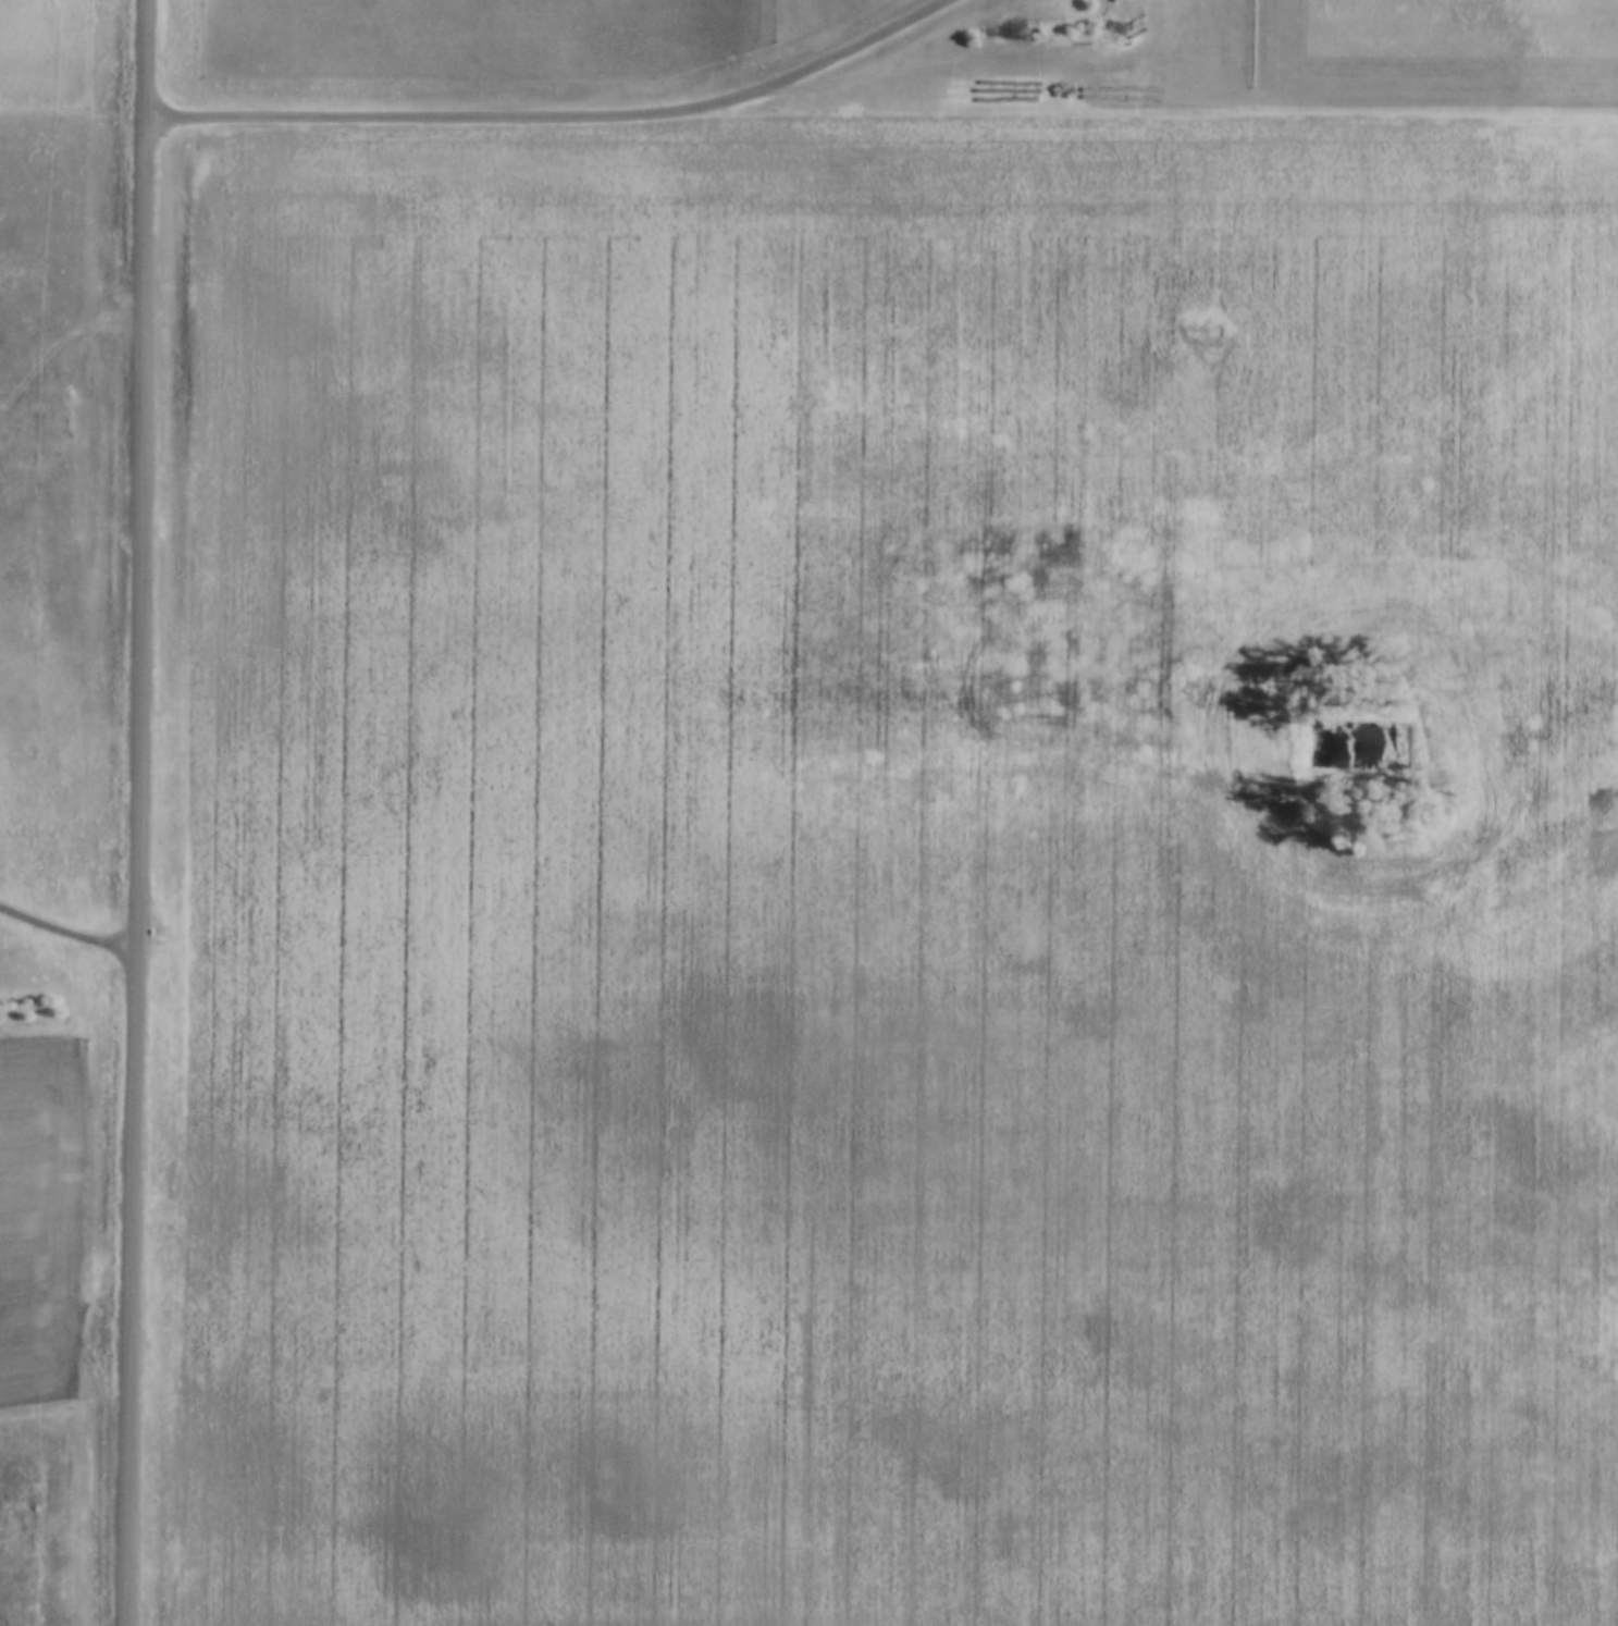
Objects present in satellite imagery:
road: (556, 115)
road: (59, 344)
road: (139, 813)
road: (67, 931)

